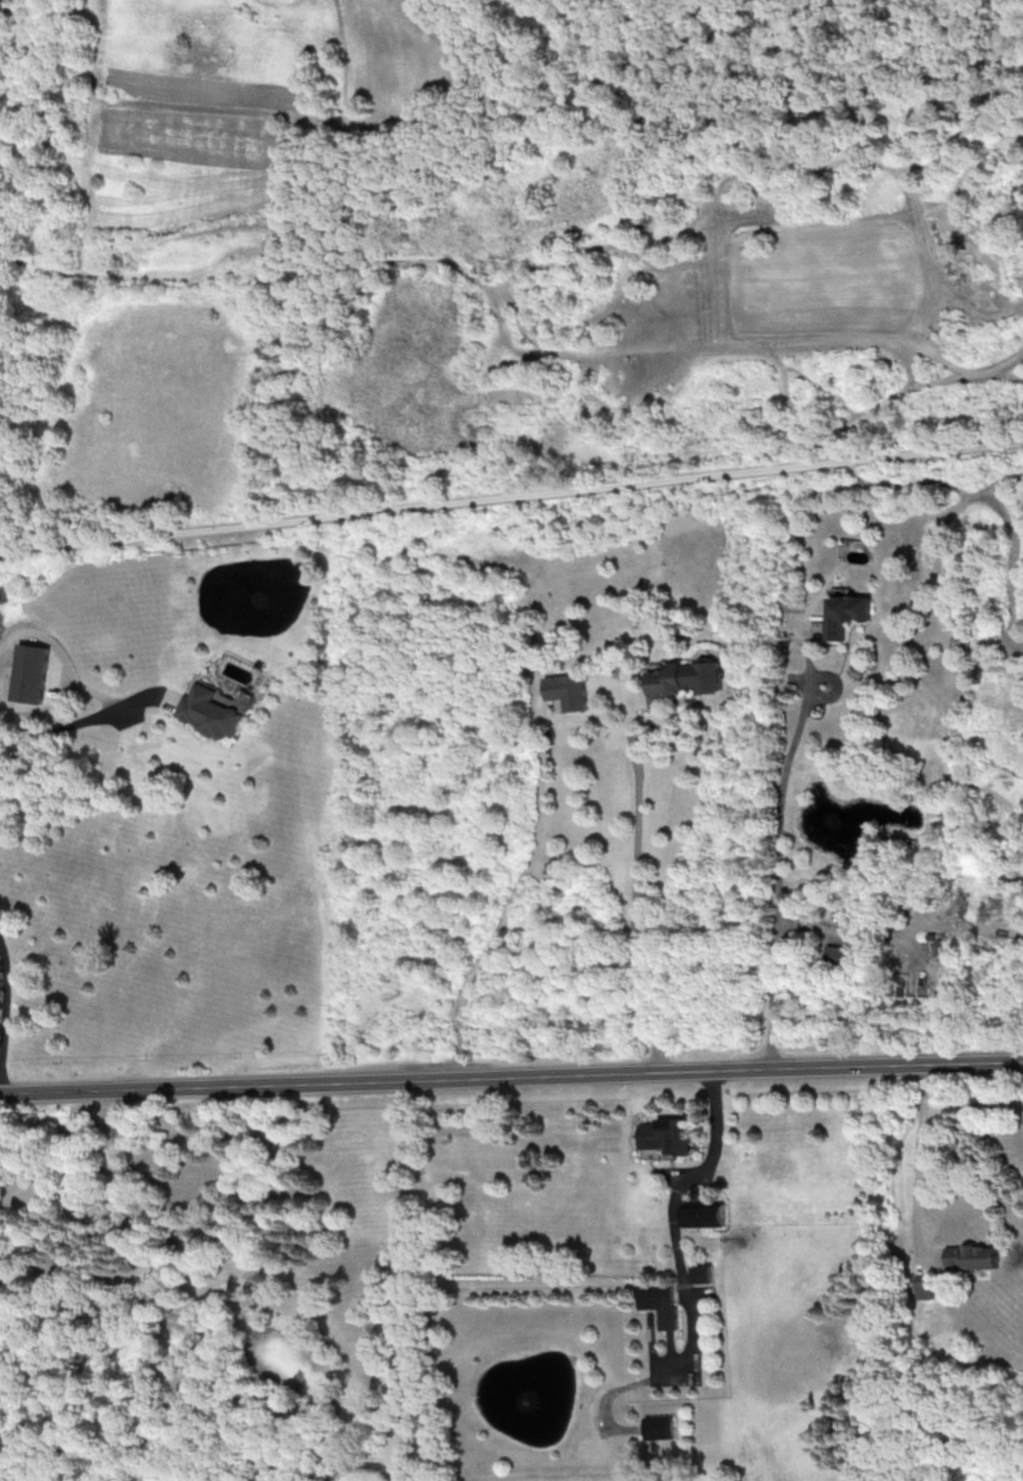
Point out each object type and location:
park: (511, 493)
road: (511, 497)
building: (844, 612)
building: (34, 672)
building: (683, 678)
building: (567, 690)
building: (208, 712)
road: (54, 730)
road: (775, 849)
road: (636, 887)
building: (839, 954)
road: (4, 1001)
road: (511, 1079)
building: (666, 1135)
road: (918, 1148)
road: (692, 1171)
building: (704, 1213)
building: (971, 1255)
building: (702, 1272)
building: (922, 1286)
building: (660, 1303)
building: (659, 1427)

